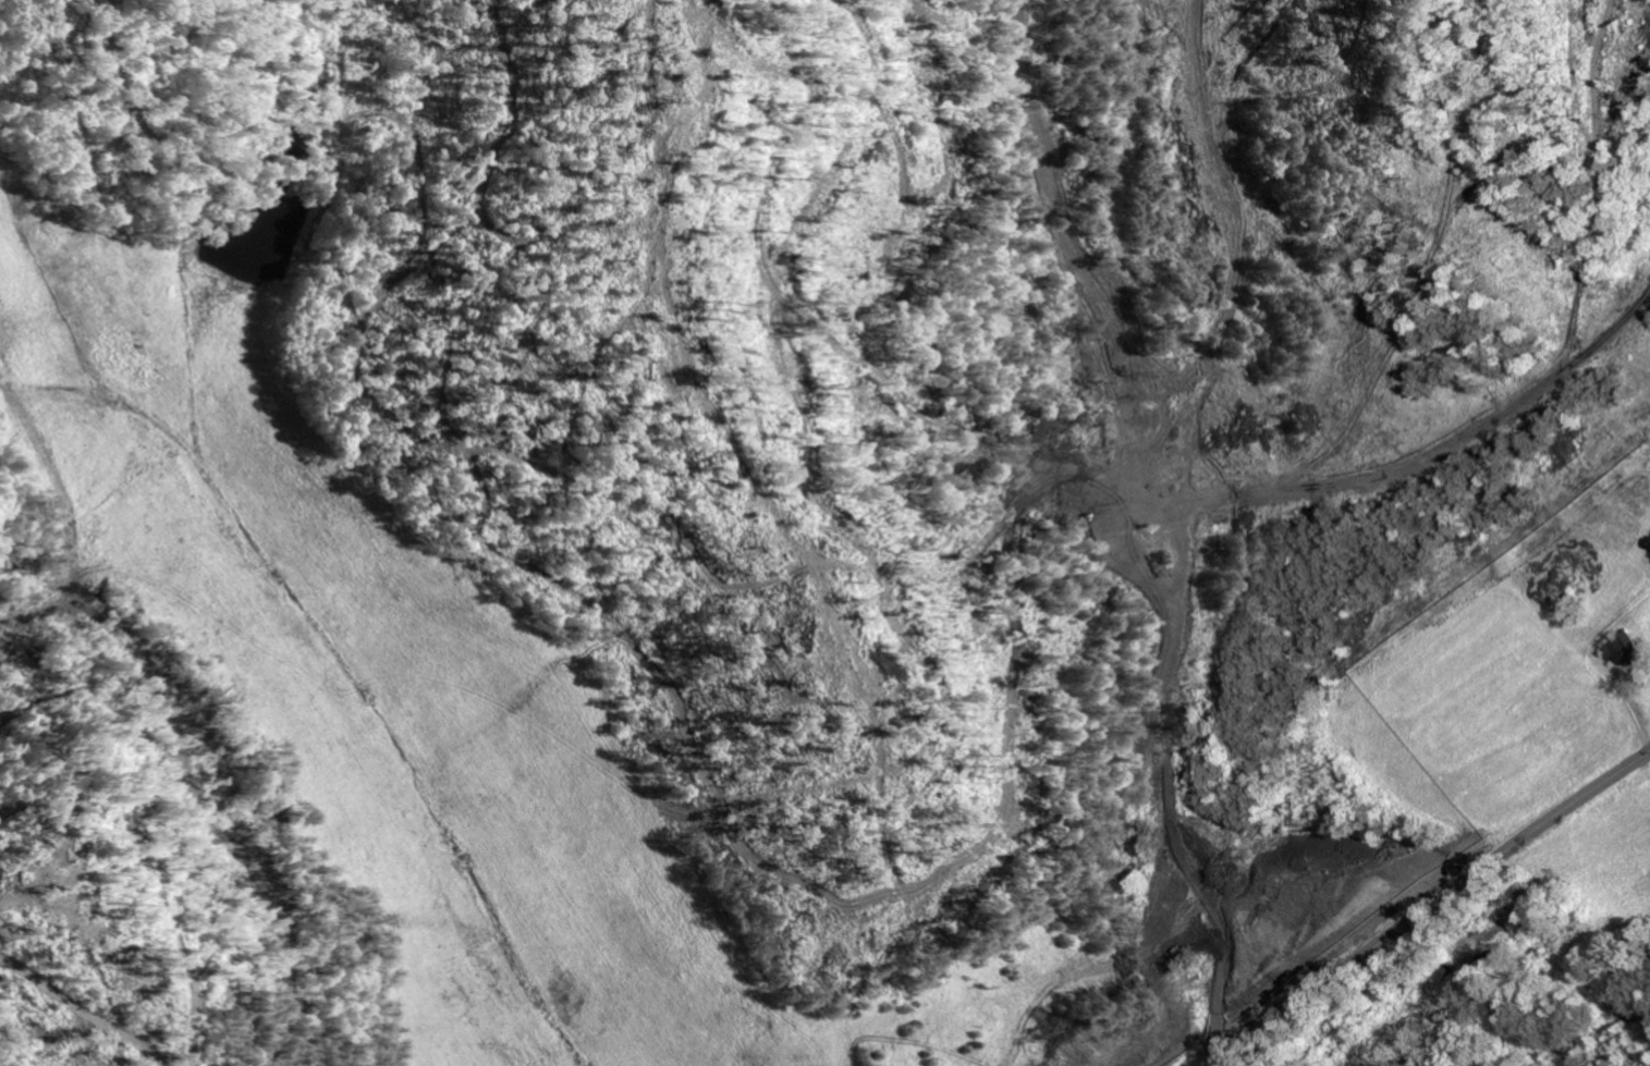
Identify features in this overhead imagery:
power tower: (1420, 181)
building: (1623, 650)
road: (1429, 911)

